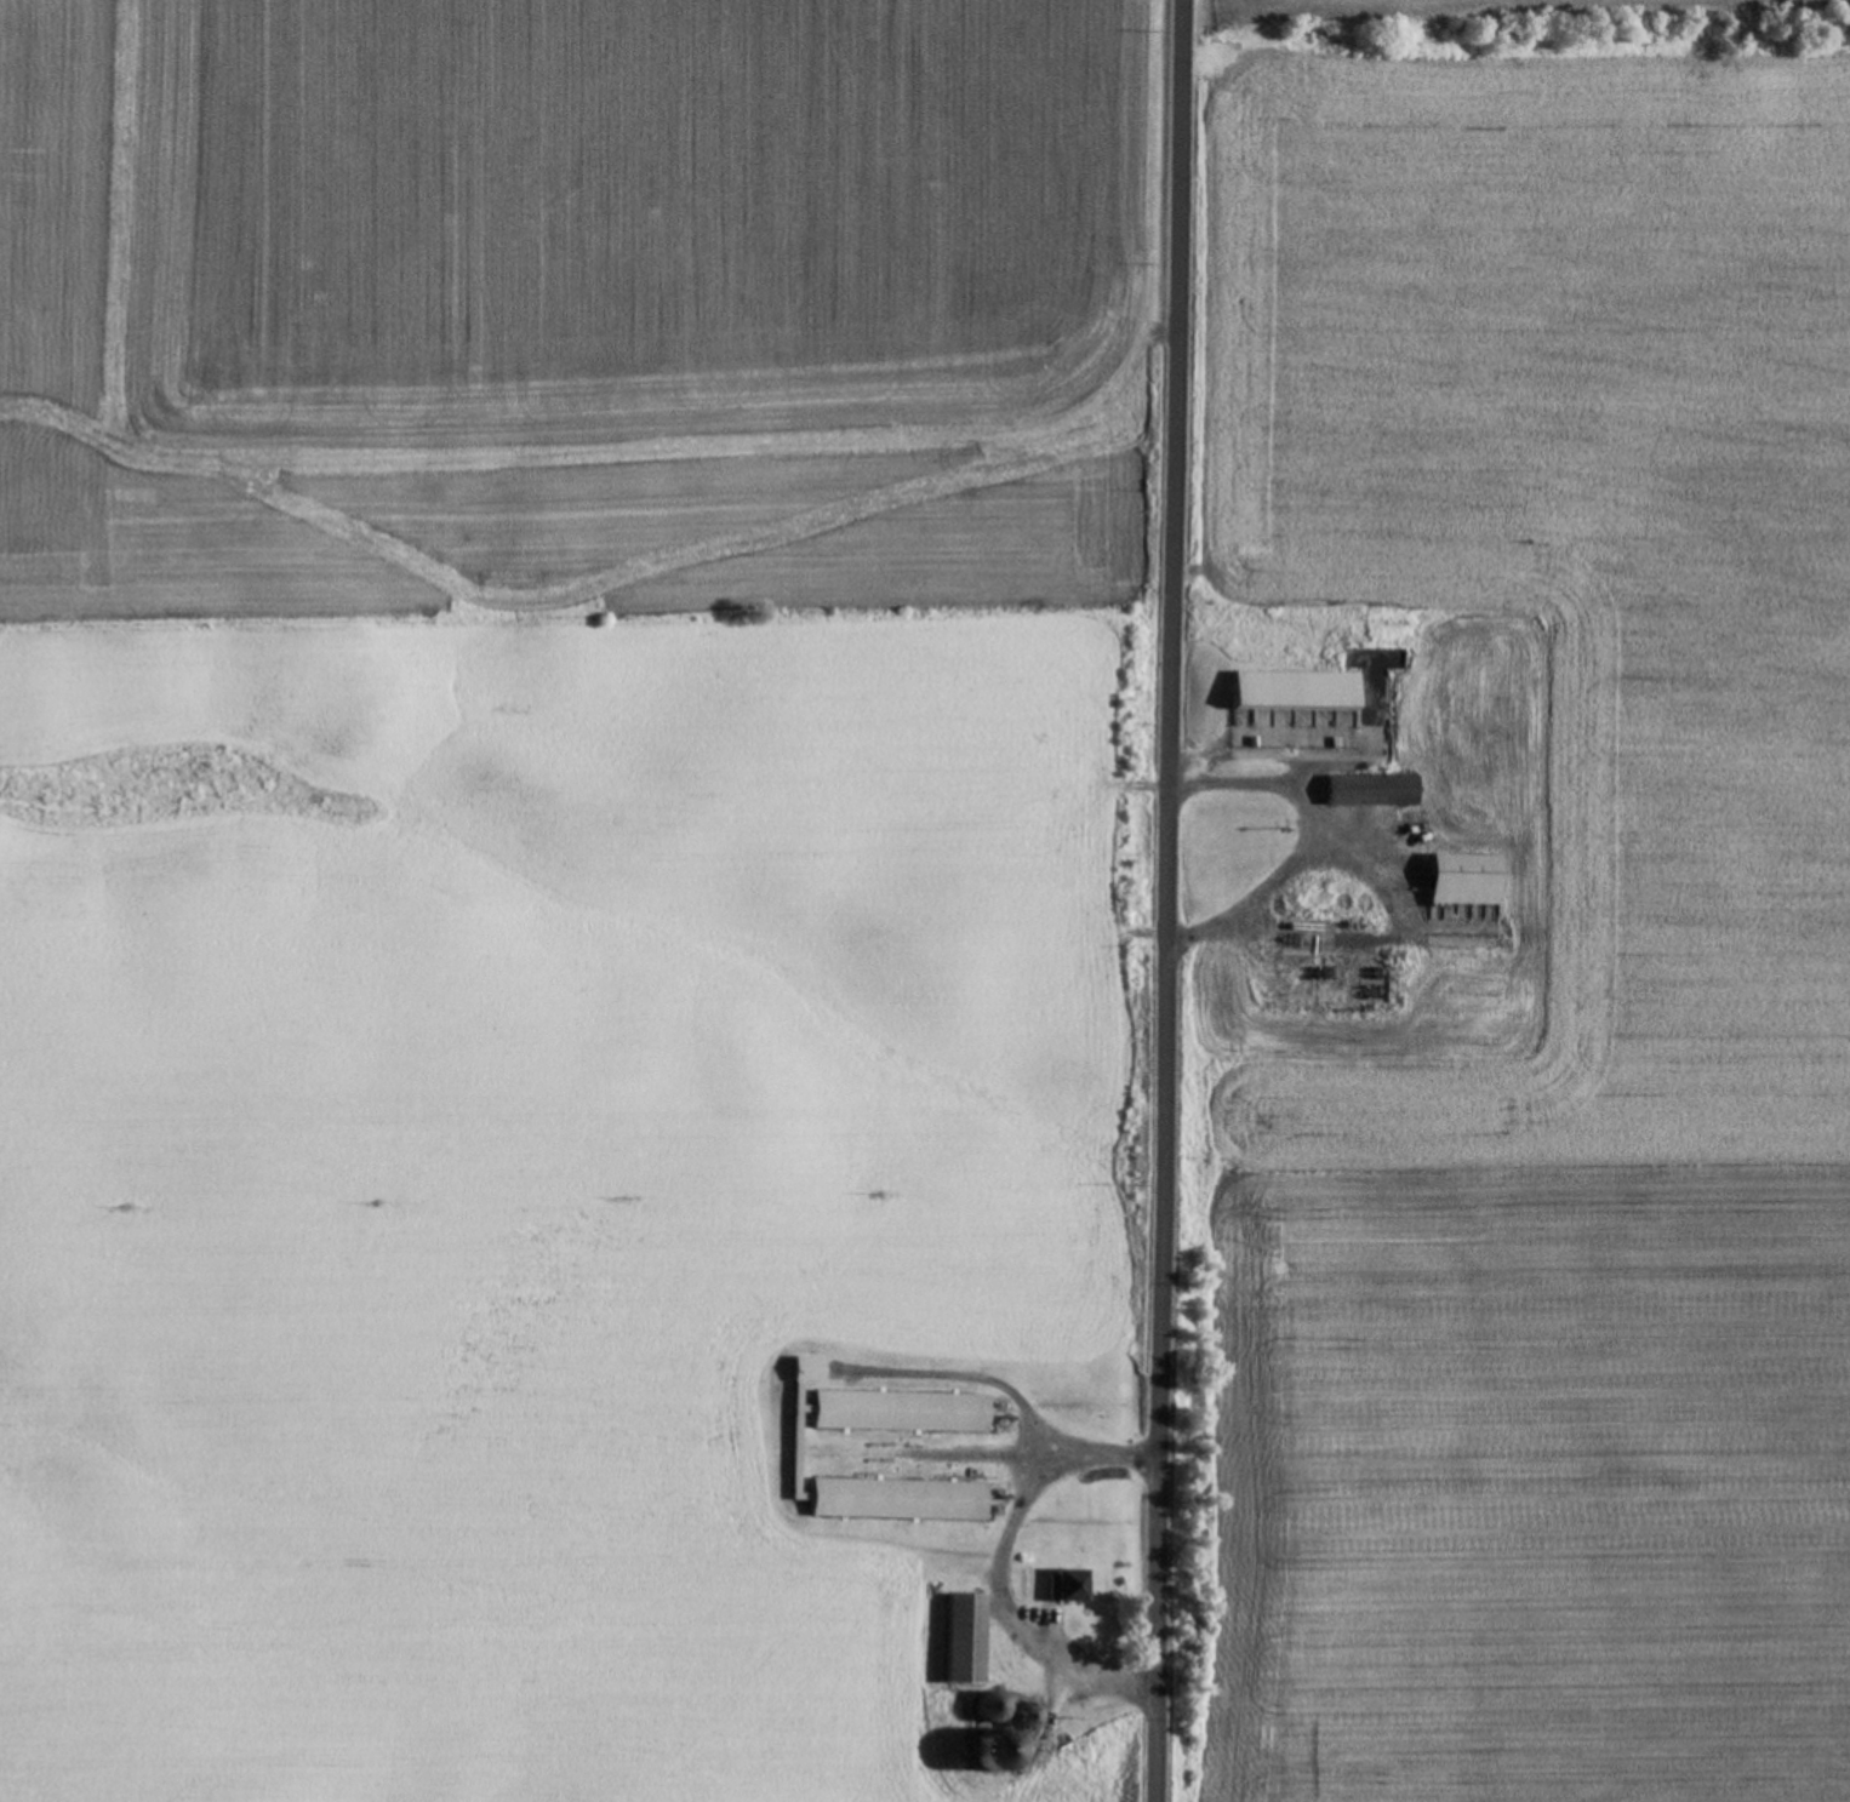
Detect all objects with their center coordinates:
building: (1286, 693)
building: (1364, 793)
building: (1455, 881)
road: (1163, 900)
building: (794, 1458)
road: (993, 1562)
building: (1061, 1588)
building: (958, 1641)
building: (1018, 1716)

